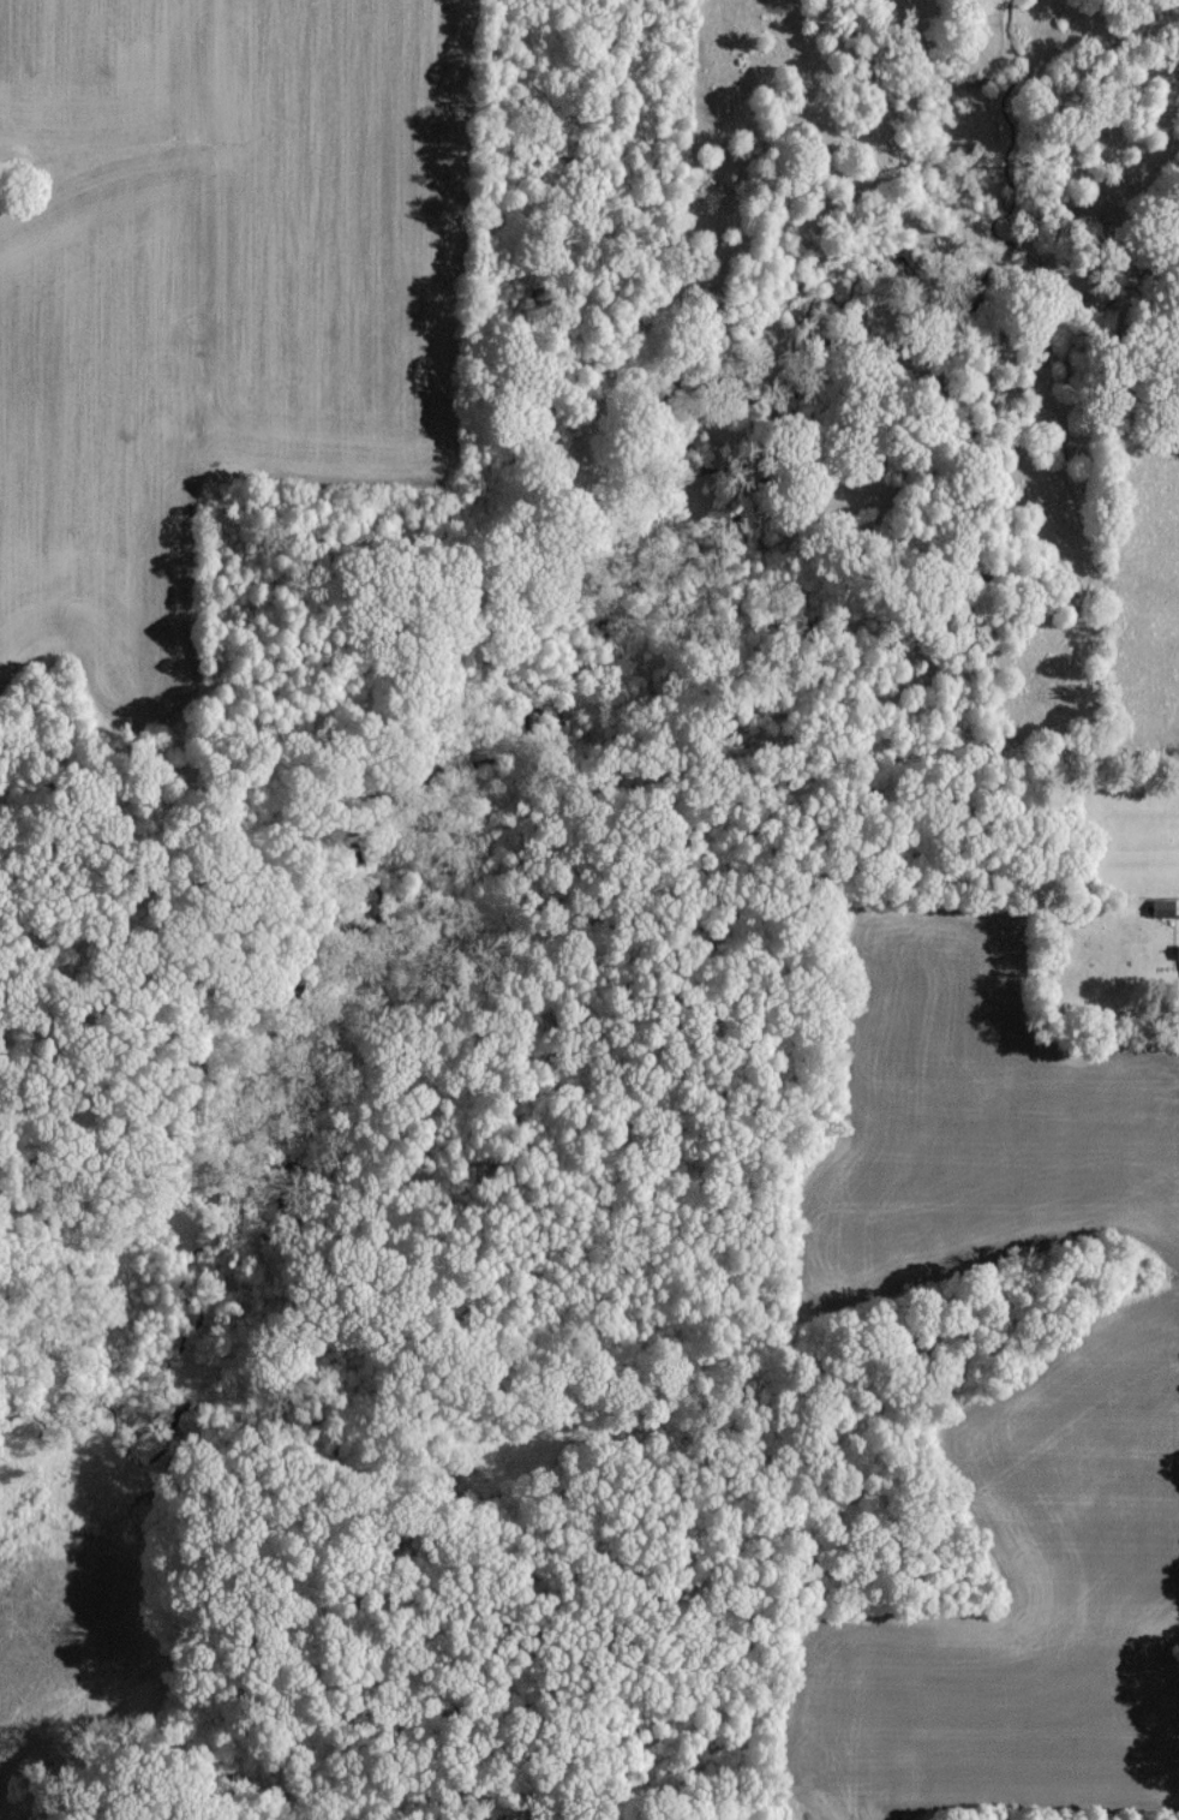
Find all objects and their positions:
building: (1162, 907)
building: (1177, 950)

